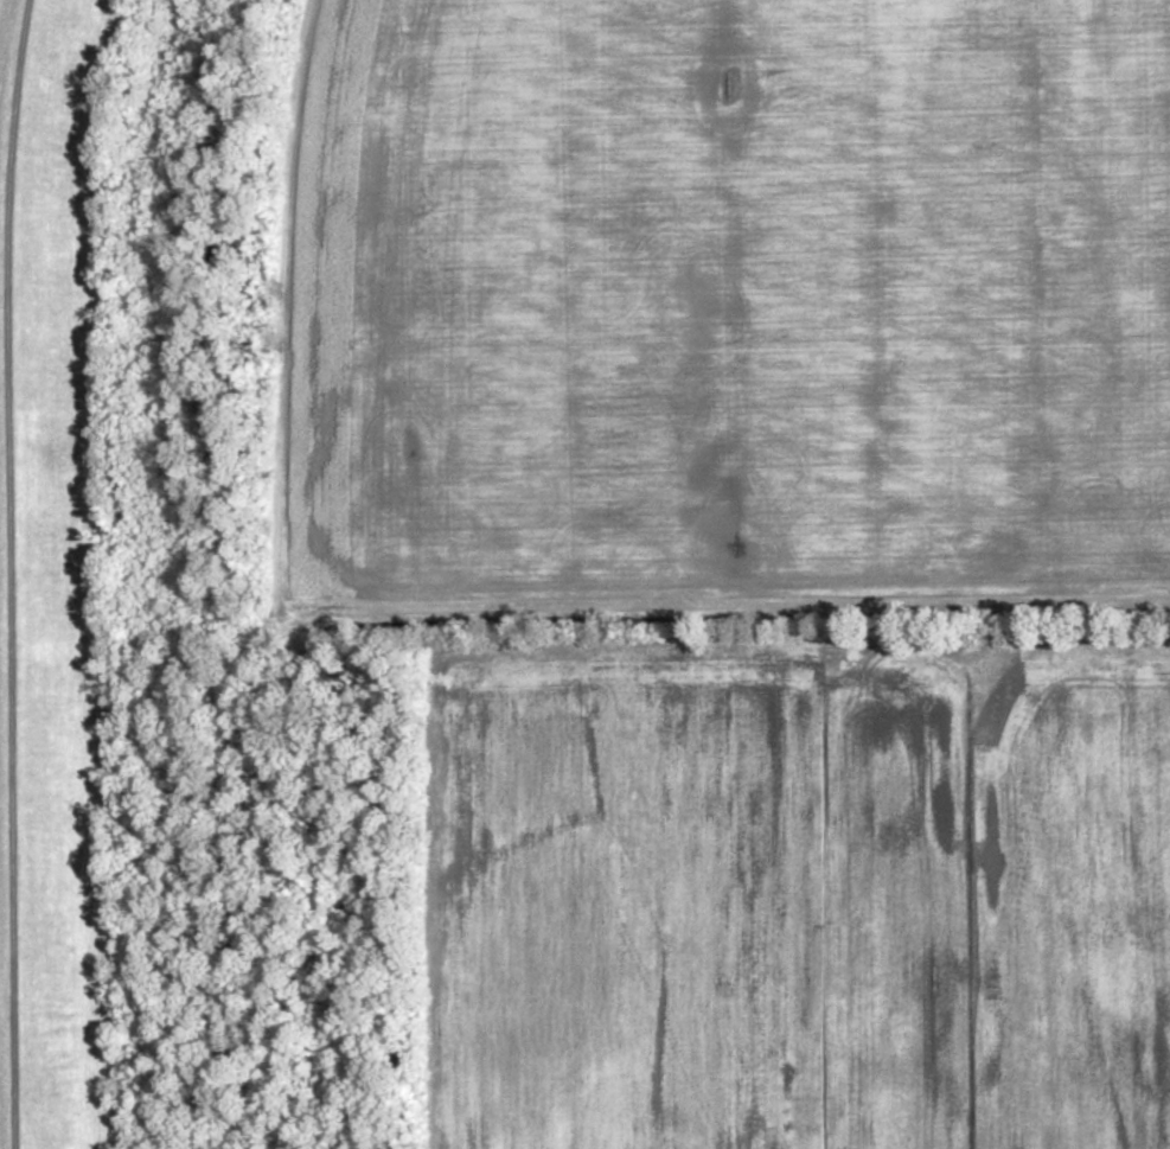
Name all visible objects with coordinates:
road: (9, 573)

